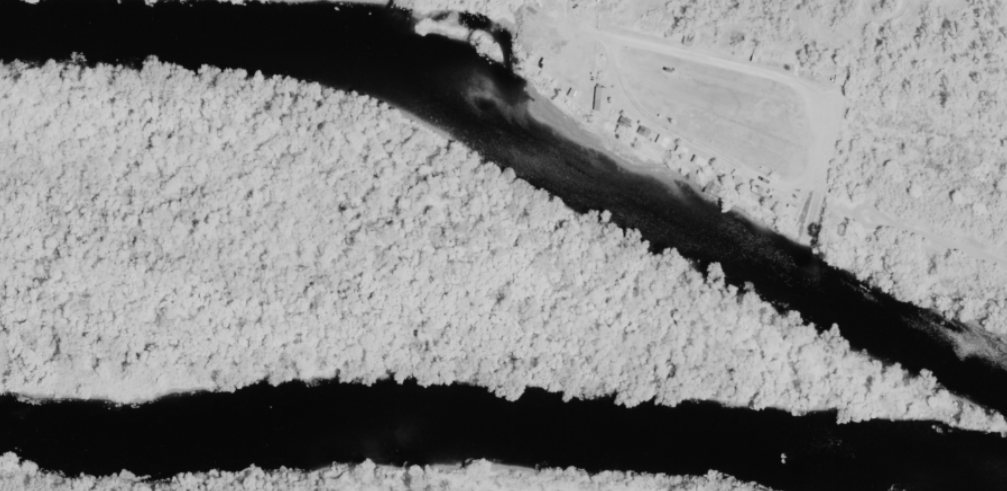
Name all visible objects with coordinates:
river: (525, 127)
river: (504, 426)

